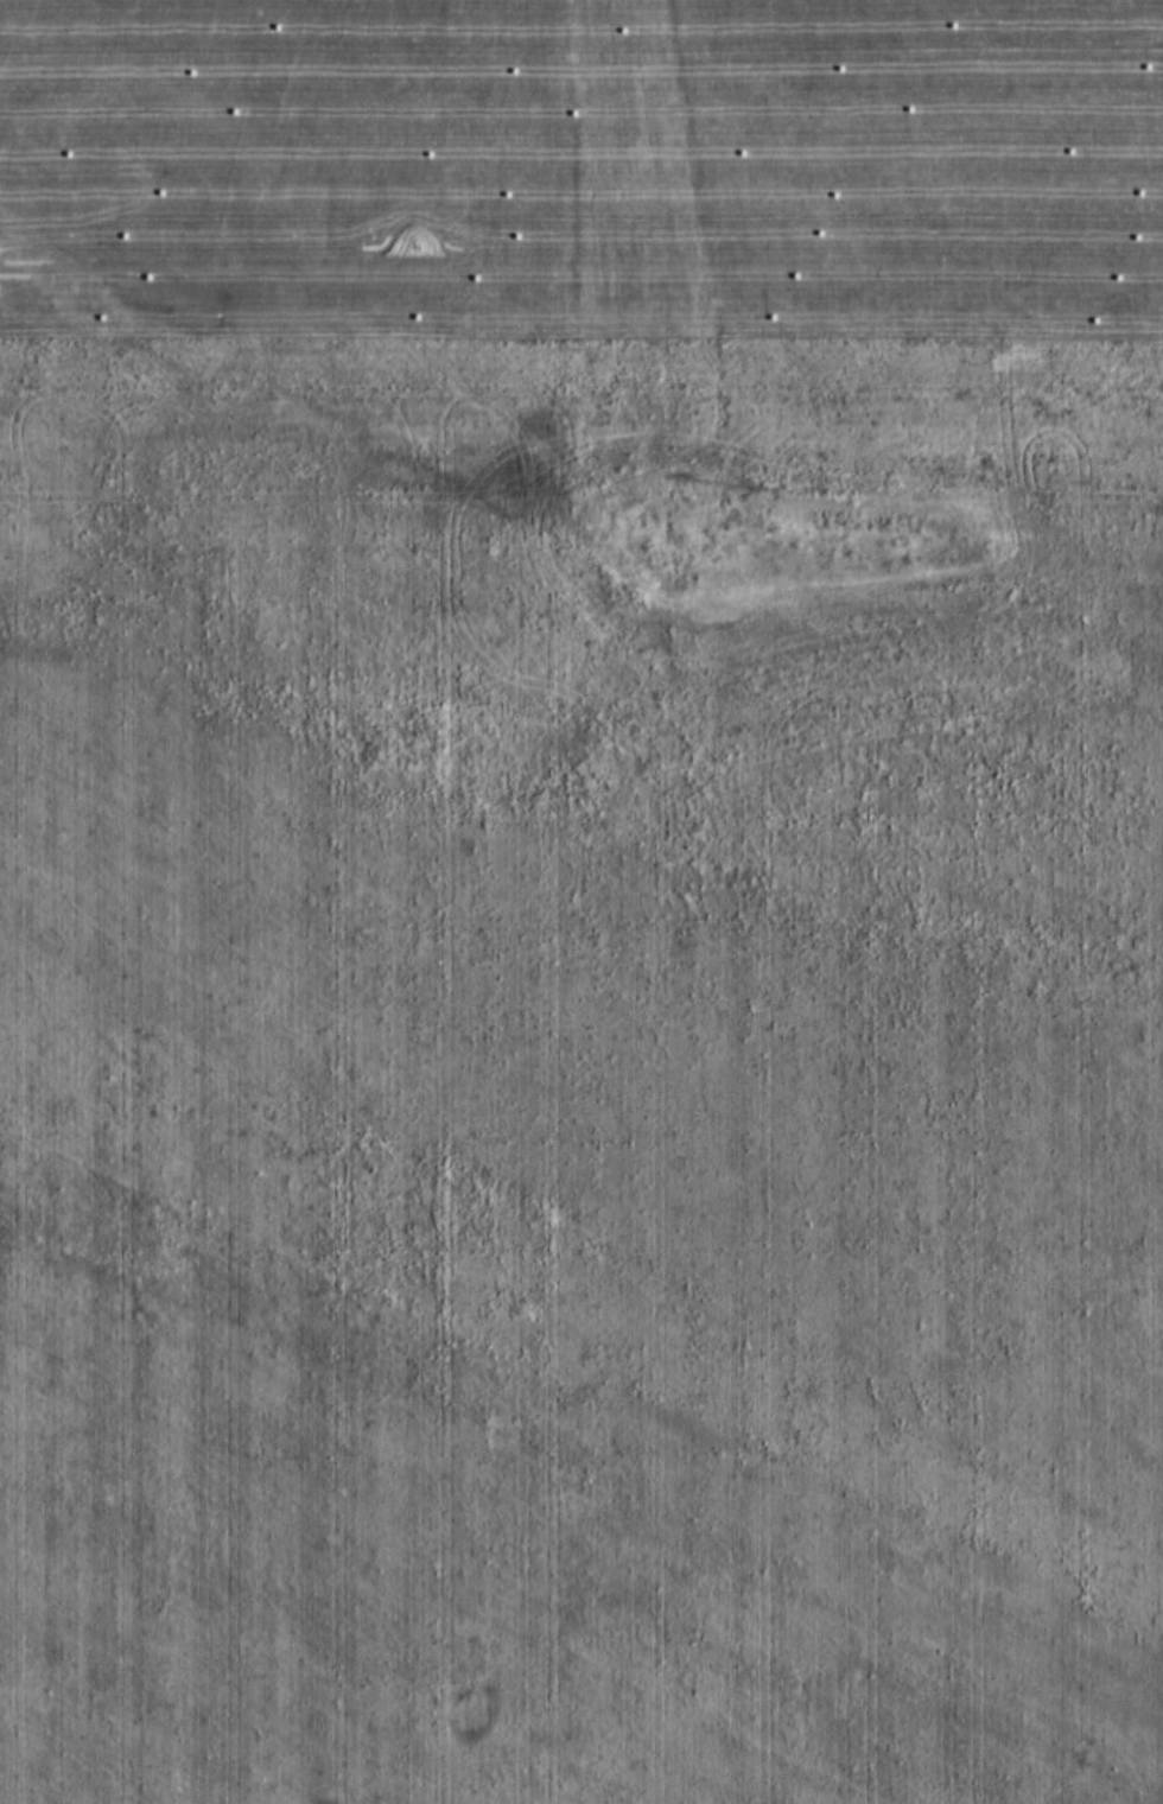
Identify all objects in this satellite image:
quarry: (733, 394)
road: (573, 1332)

